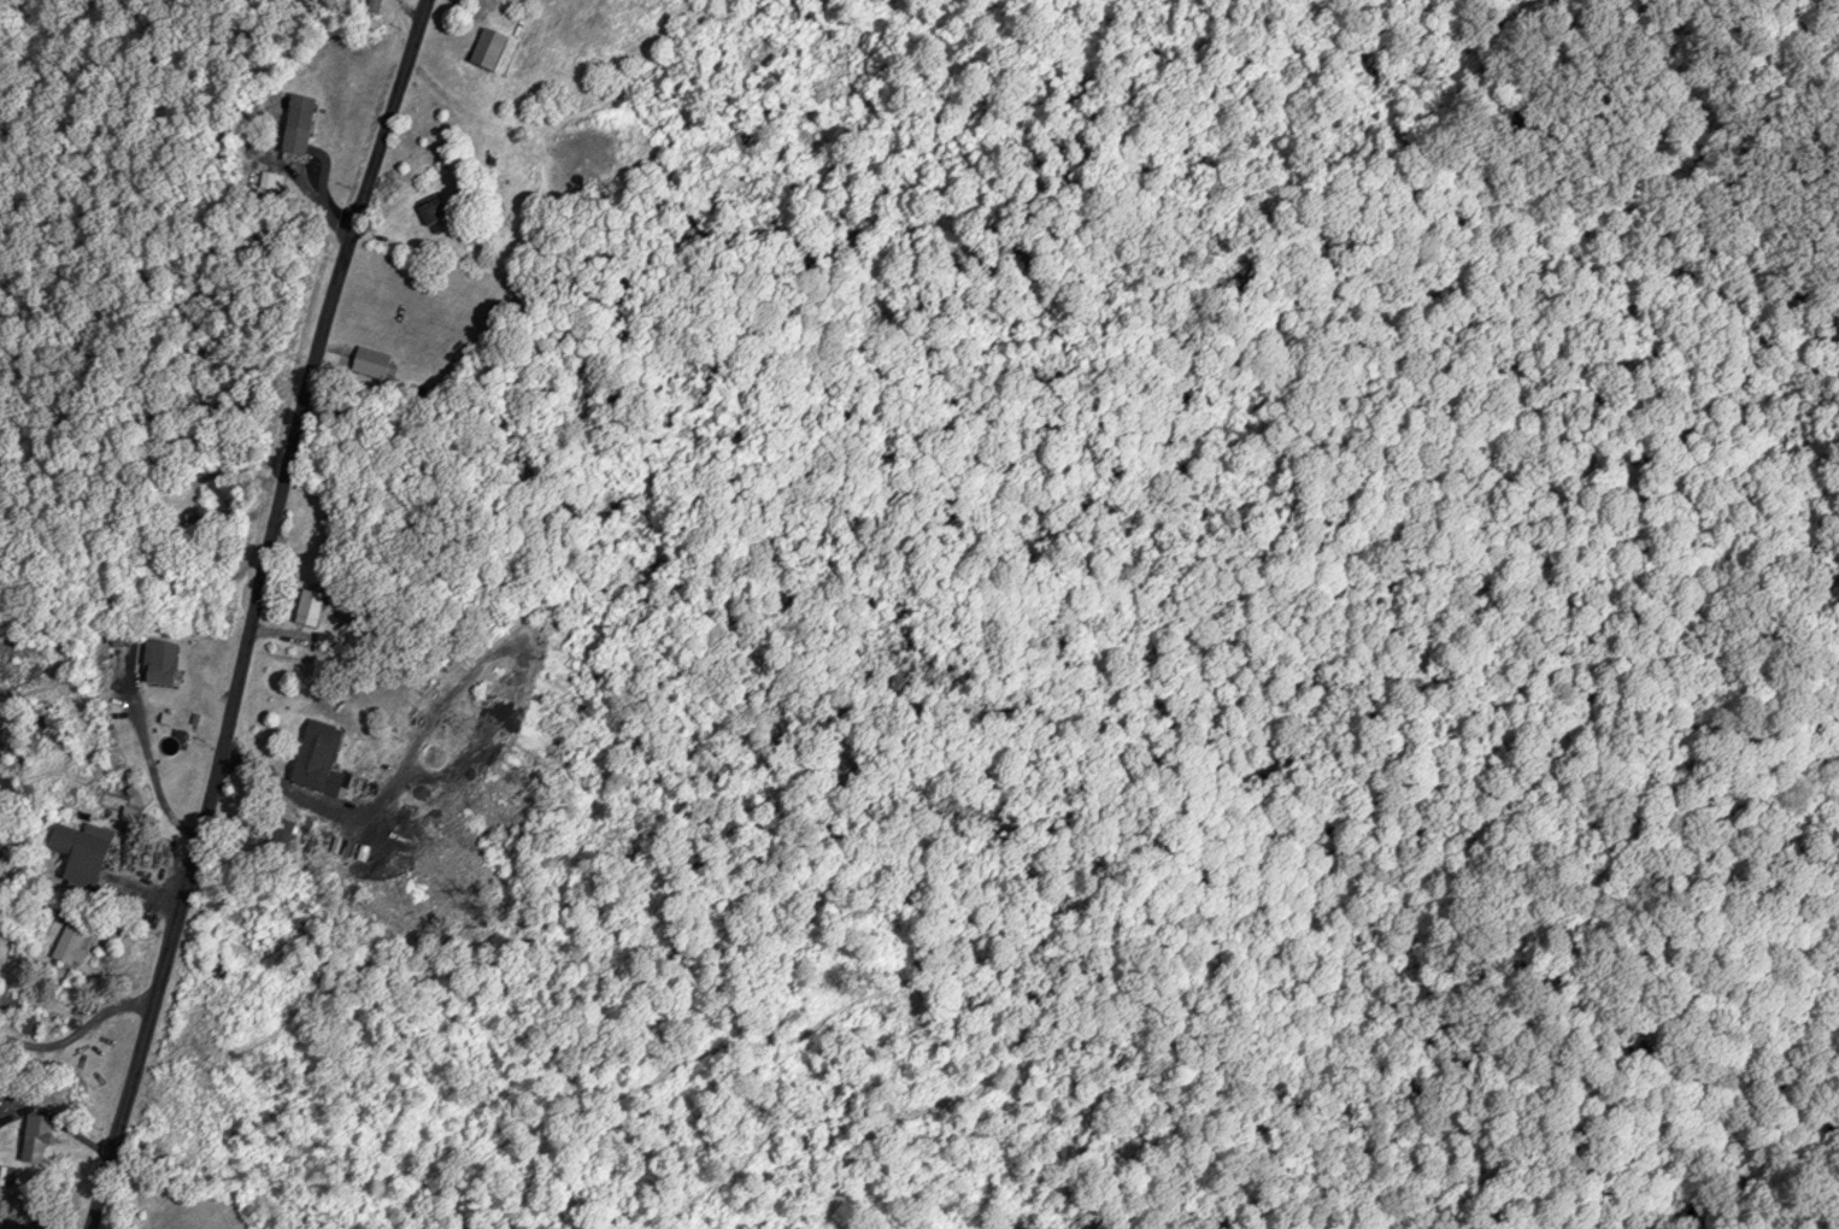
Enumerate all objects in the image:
building: (489, 48)
building: (298, 125)
building: (433, 211)
building: (374, 363)
building: (310, 604)
road: (254, 613)
building: (161, 664)
building: (317, 755)
building: (82, 855)
building: (70, 946)
building: (10, 1002)
building: (34, 1137)
building: (6, 1175)

